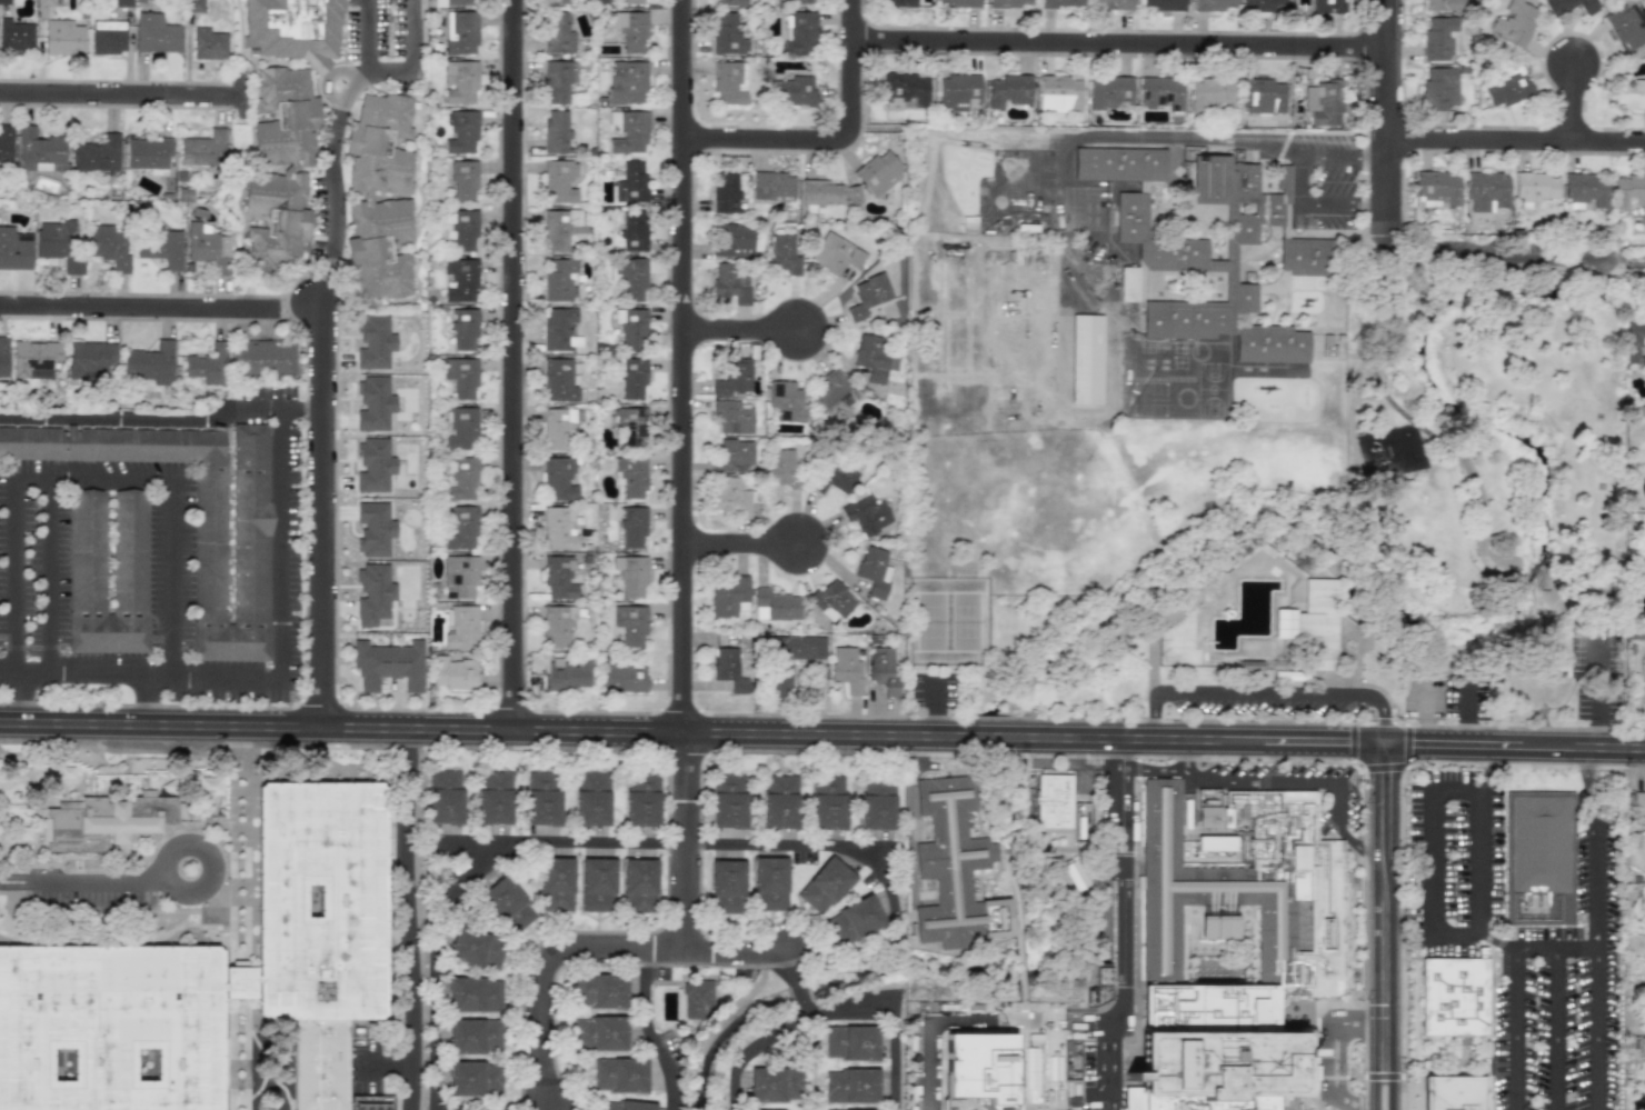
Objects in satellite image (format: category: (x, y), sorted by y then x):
building: (555, 1)
building: (634, 1)
building: (802, 1)
building: (460, 2)
building: (729, 2)
building: (899, 2)
building: (958, 2)
building: (1061, 2)
building: (1009, 3)
building: (1263, 3)
building: (1111, 4)
building: (1163, 4)
building: (1214, 4)
building: (1443, 4)
building: (1327, 6)
building: (1568, 6)
building: (1513, 22)
building: (1626, 24)
building: (292, 28)
building: (630, 29)
building: (460, 32)
building: (557, 32)
building: (799, 32)
building: (156, 33)
building: (727, 34)
building: (16, 36)
building: (62, 37)
building: (107, 37)
building: (1438, 38)
building: (208, 43)
road: (1120, 60)
road: (388, 72)
building: (557, 80)
building: (460, 81)
building: (627, 82)
building: (729, 82)
building: (1507, 86)
building: (1438, 89)
road: (119, 90)
building: (1008, 90)
building: (794, 91)
building: (904, 91)
building: (957, 91)
building: (1110, 92)
building: (1160, 92)
building: (1210, 92)
building: (1627, 92)
building: (1058, 93)
building: (1263, 97)
building: (1324, 102)
road: (1568, 116)
road: (1384, 122)
building: (460, 131)
building: (555, 131)
building: (628, 131)
building: (6, 143)
building: (203, 149)
building: (38, 150)
building: (96, 153)
road: (1514, 153)
building: (147, 154)
road: (847, 154)
building: (1119, 164)
building: (290, 169)
building: (877, 172)
building: (463, 179)
building: (559, 180)
building: (630, 181)
road: (1296, 181)
building: (772, 186)
building: (1535, 186)
building: (1437, 189)
building: (1585, 189)
building: (1486, 190)
building: (725, 191)
building: (1629, 192)
building: (818, 194)
building: (367, 196)
building: (560, 227)
building: (461, 230)
building: (634, 230)
building: (734, 240)
building: (58, 244)
building: (109, 246)
building: (159, 247)
building: (207, 247)
building: (1202, 247)
building: (14, 249)
building: (781, 253)
building: (835, 253)
building: (1302, 257)
building: (631, 277)
building: (461, 279)
building: (558, 279)
building: (730, 282)
building: (1128, 284)
building: (867, 296)
road: (140, 306)
road: (300, 306)
road: (1358, 320)
building: (558, 328)
building: (631, 328)
building: (465, 329)
road: (746, 334)
building: (3, 357)
building: (873, 357)
building: (34, 358)
building: (90, 358)
building: (263, 358)
building: (149, 363)
building: (208, 364)
road: (520, 369)
building: (461, 376)
building: (632, 377)
building: (732, 378)
building: (558, 379)
road: (322, 394)
building: (833, 398)
building: (785, 401)
road: (233, 408)
building: (731, 417)
road: (94, 421)
building: (629, 424)
building: (461, 428)
building: (558, 428)
building: (1399, 450)
building: (732, 453)
road: (1356, 453)
building: (372, 466)
building: (781, 467)
road: (687, 474)
building: (835, 474)
building: (460, 477)
building: (630, 477)
road: (70, 478)
building: (558, 478)
building: (730, 496)
building: (865, 513)
building: (193, 517)
building: (460, 527)
building: (373, 528)
building: (559, 528)
building: (634, 528)
park: (1373, 531)
road: (745, 550)
building: (87, 551)
road: (280, 551)
road: (1334, 567)
building: (873, 570)
building: (630, 574)
road: (51, 576)
building: (459, 577)
building: (558, 577)
building: (372, 594)
building: (729, 598)
building: (830, 600)
building: (776, 604)
park: (946, 620)
building: (629, 623)
building: (557, 626)
building: (460, 627)
building: (790, 658)
road: (1355, 659)
building: (387, 664)
building: (730, 668)
building: (881, 668)
building: (846, 669)
building: (452, 672)
building: (567, 674)
road: (140, 676)
building: (624, 677)
parking lot: (1599, 680)
road: (1259, 691)
road: (1599, 696)
parking lot: (1264, 700)
road: (148, 703)
road: (1382, 714)
road: (1155, 719)
road: (691, 739)
road: (1514, 746)
road: (1293, 782)
road: (1385, 796)
building: (445, 797)
building: (493, 797)
building: (542, 798)
building: (591, 799)
building: (641, 800)
building: (729, 800)
building: (1053, 801)
building: (780, 802)
building: (828, 802)
building: (1637, 803)
building: (101, 806)
building: (877, 806)
road: (471, 842)
road: (571, 843)
road: (212, 858)
building: (1538, 858)
building: (954, 870)
road: (441, 873)
building: (1075, 874)
road: (81, 879)
road: (1123, 882)
building: (556, 883)
building: (770, 883)
building: (597, 884)
building: (638, 884)
building: (825, 886)
building: (727, 887)
road: (1593, 889)
building: (322, 902)
building: (508, 904)
building: (854, 920)
building: (1218, 926)
building: (1326, 927)
road: (1453, 933)
road: (1498, 942)
building: (477, 948)
road: (411, 950)
road: (748, 951)
road: (540, 957)
road: (1385, 957)
building: (1100, 974)
building: (600, 990)
building: (475, 994)
road: (800, 994)
building: (696, 998)
building: (1455, 998)
road: (840, 1009)
road: (808, 1012)
building: (110, 1028)
road: (1515, 1030)
road: (649, 1031)
road: (1557, 1031)
road: (1594, 1031)
building: (599, 1033)
building: (475, 1036)
building: (850, 1042)
road: (930, 1049)
road: (1109, 1056)
road: (1328, 1057)
road: (1343, 1060)
building: (321, 1064)
building: (981, 1068)
building: (619, 1074)
building: (473, 1078)
building: (776, 1083)
building: (851, 1086)
road: (1375, 1086)
road: (1392, 1087)
building: (1456, 1093)
road: (1109, 1101)
building: (626, 1106)
road: (486, 1107)

